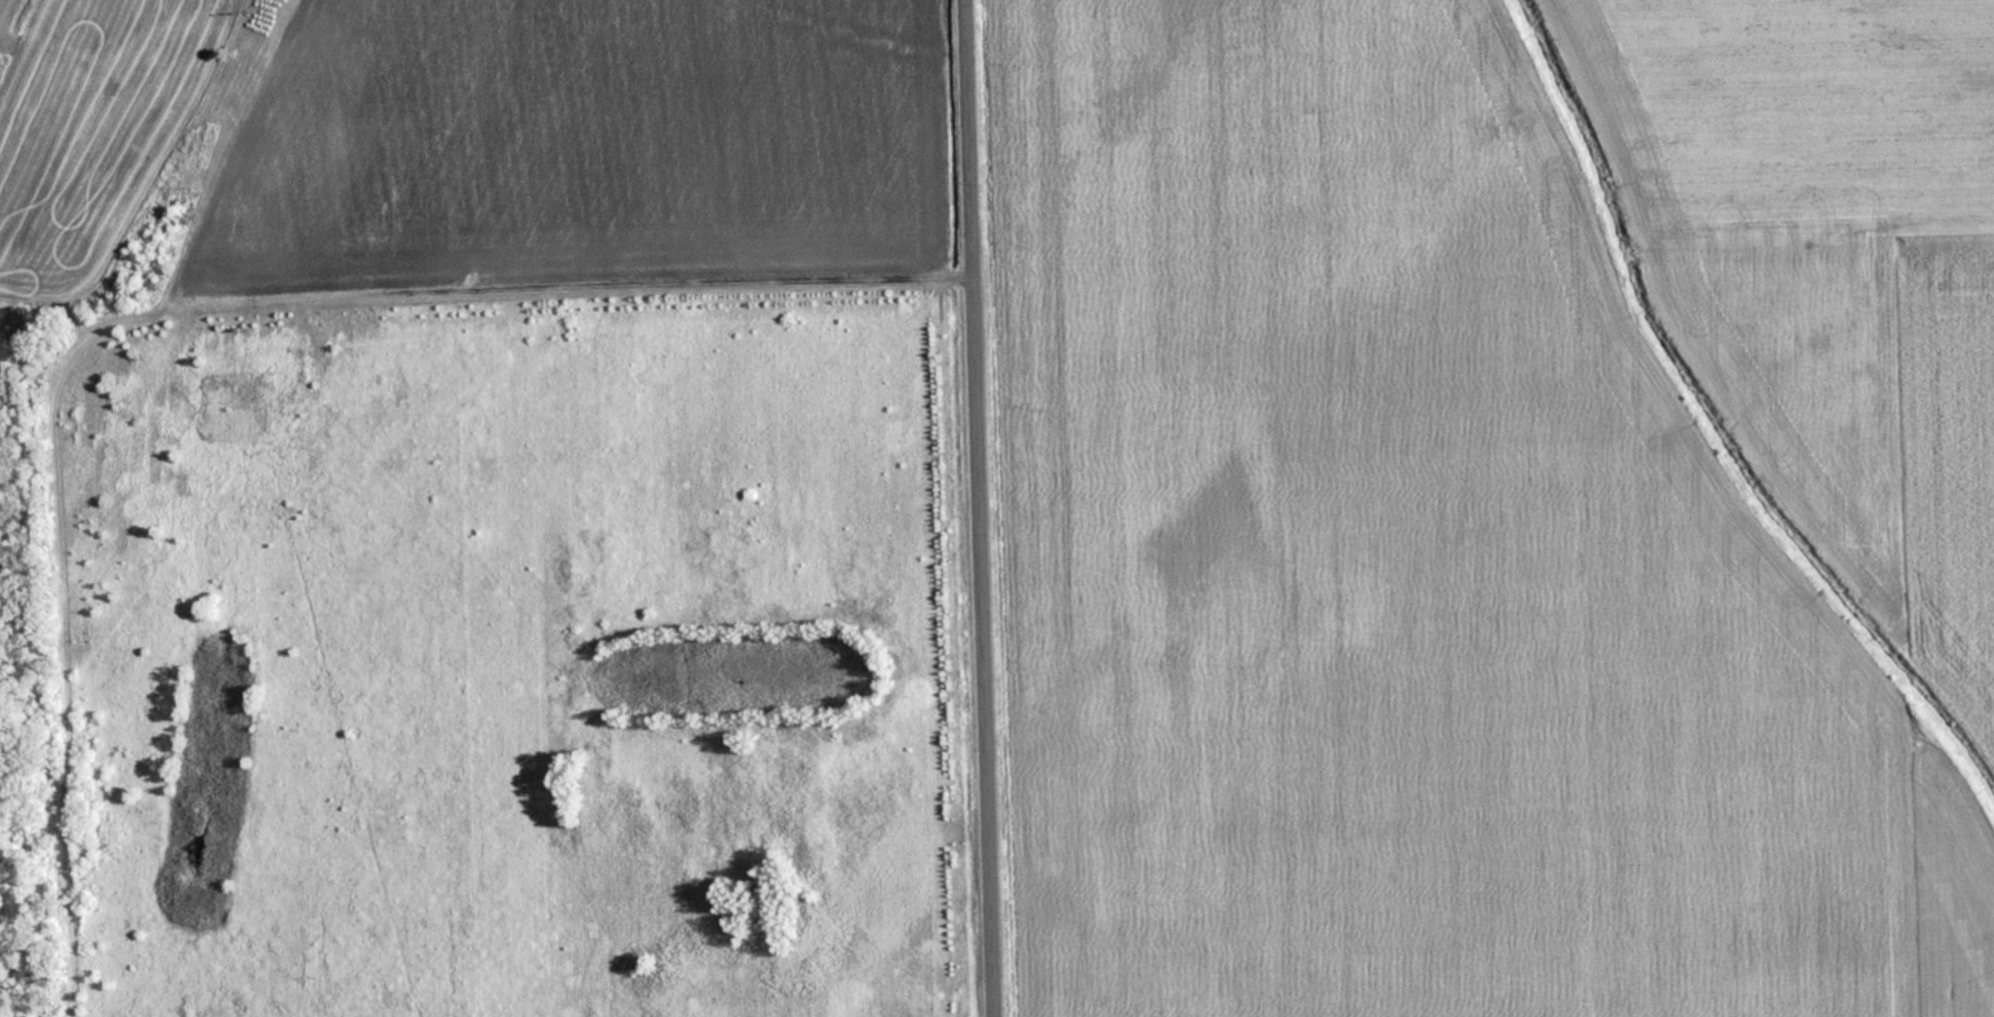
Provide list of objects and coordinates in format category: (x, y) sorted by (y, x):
road: (982, 508)

